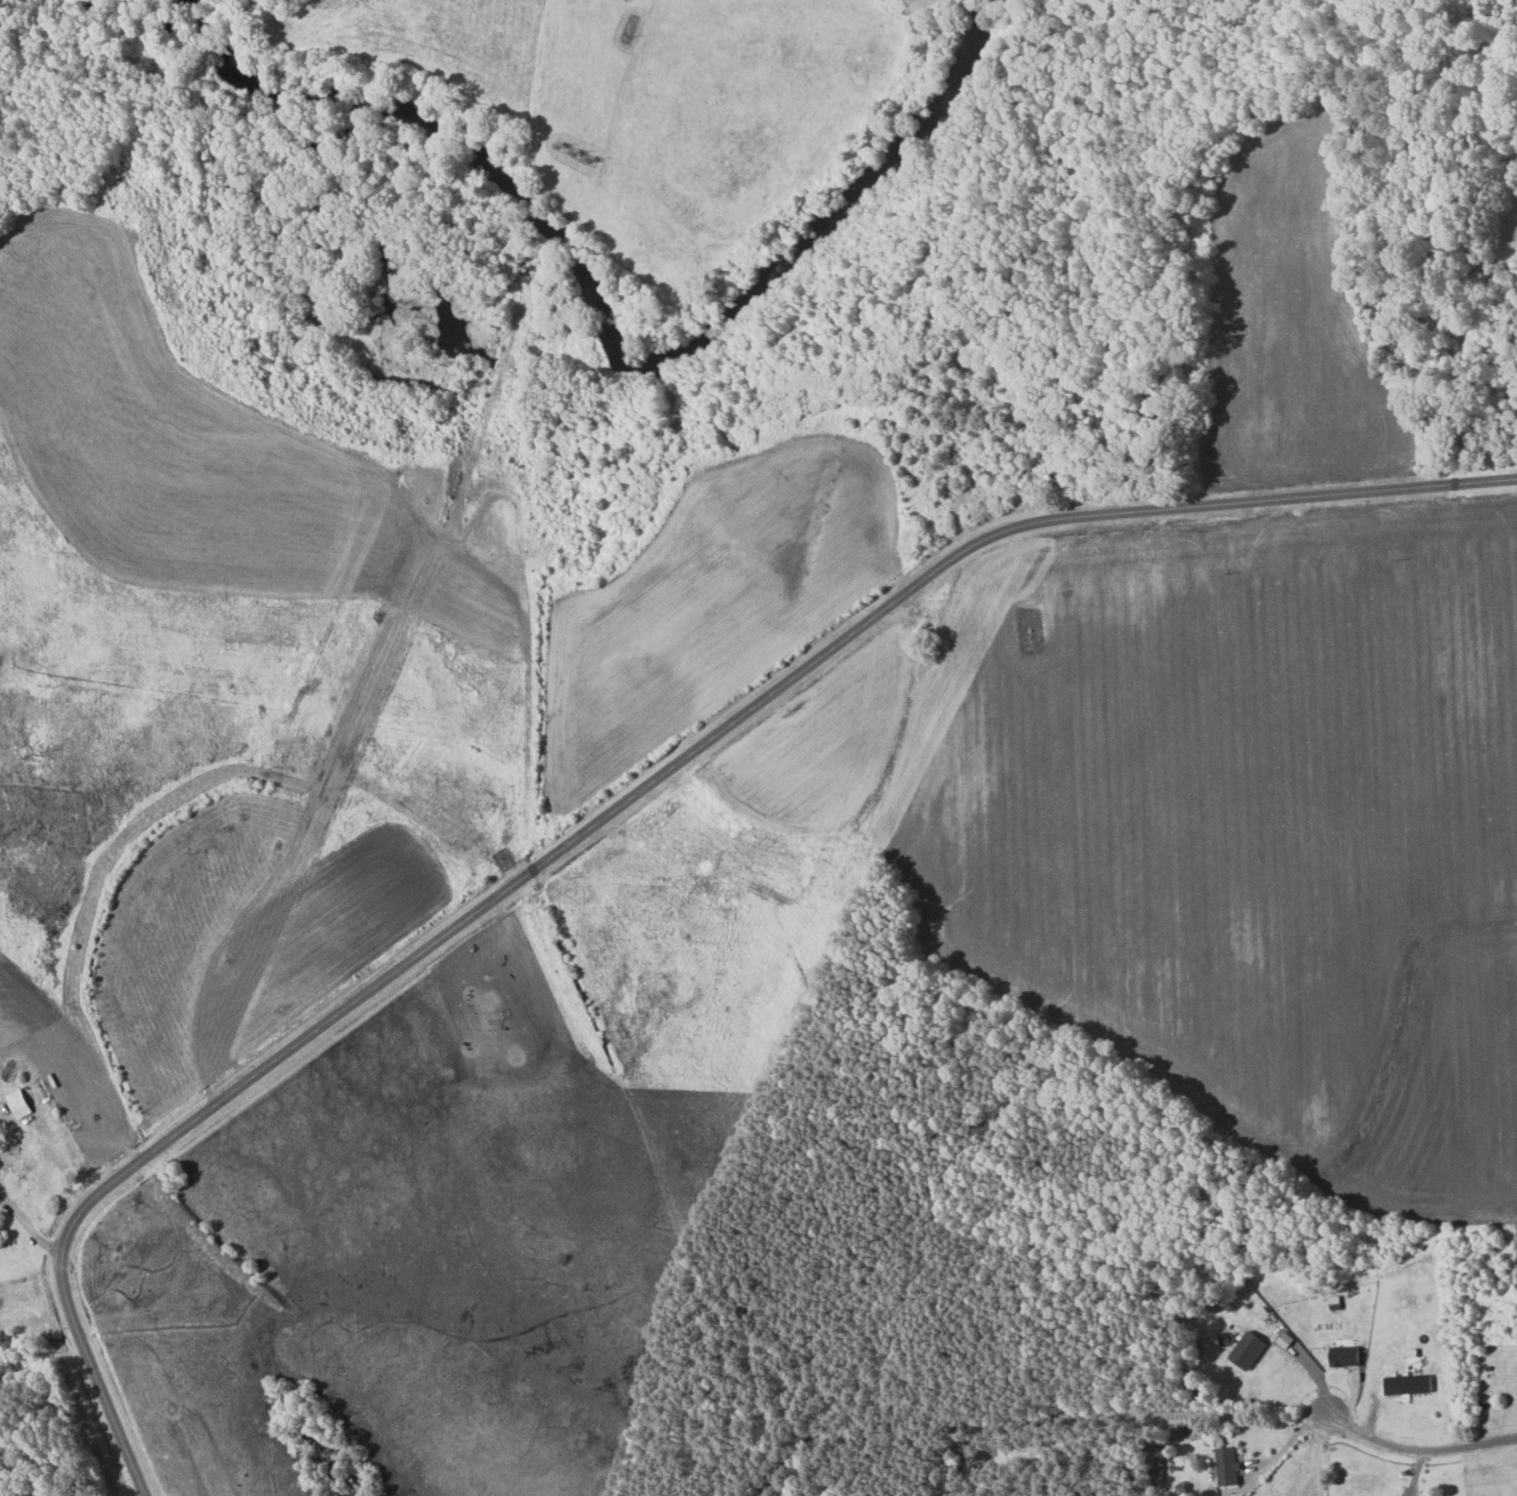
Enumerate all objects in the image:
airport: (643, 108)
park: (1029, 629)
road: (623, 803)
building: (20, 1103)
road: (29, 1228)
building: (1249, 1350)
building: (1346, 1356)
building: (1409, 1385)
road: (1287, 1443)
road: (1419, 1450)
building: (1229, 1467)

